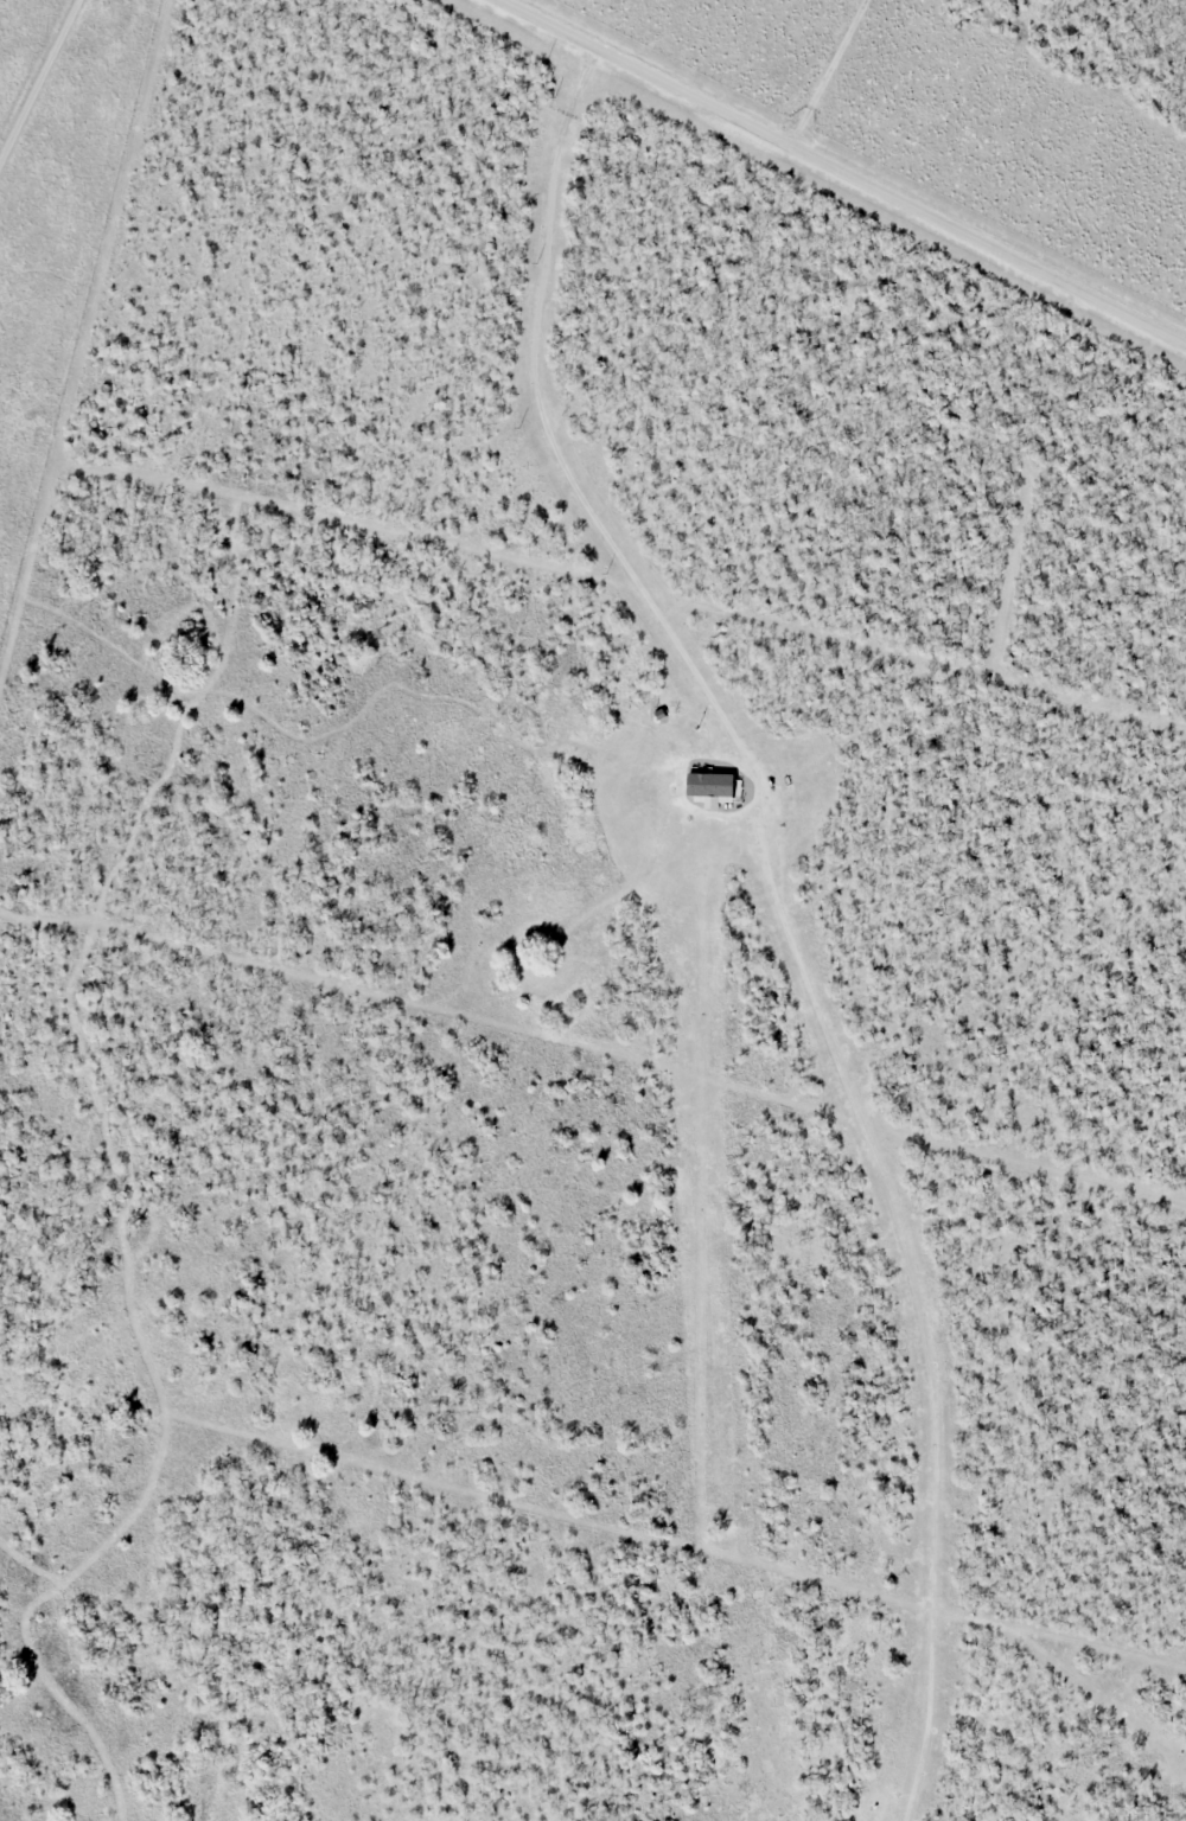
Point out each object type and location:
road: (58, 116)
road: (849, 168)

